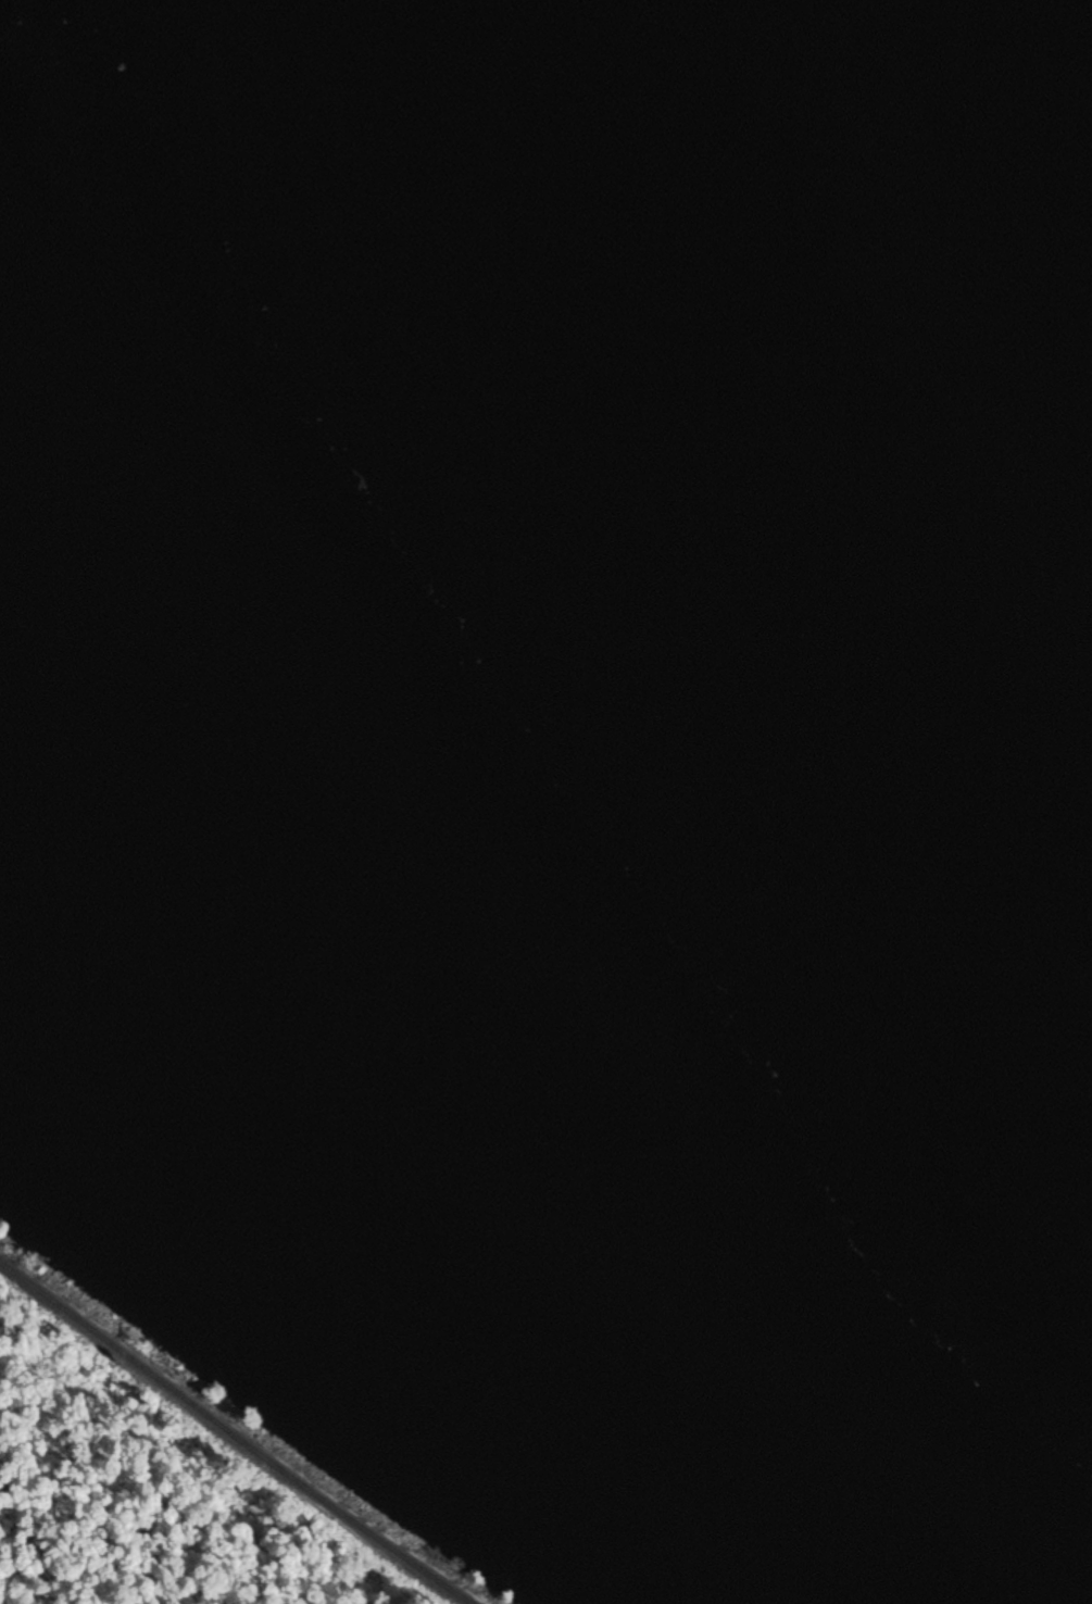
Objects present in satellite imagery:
river: (758, 418)
railway: (236, 1436)

